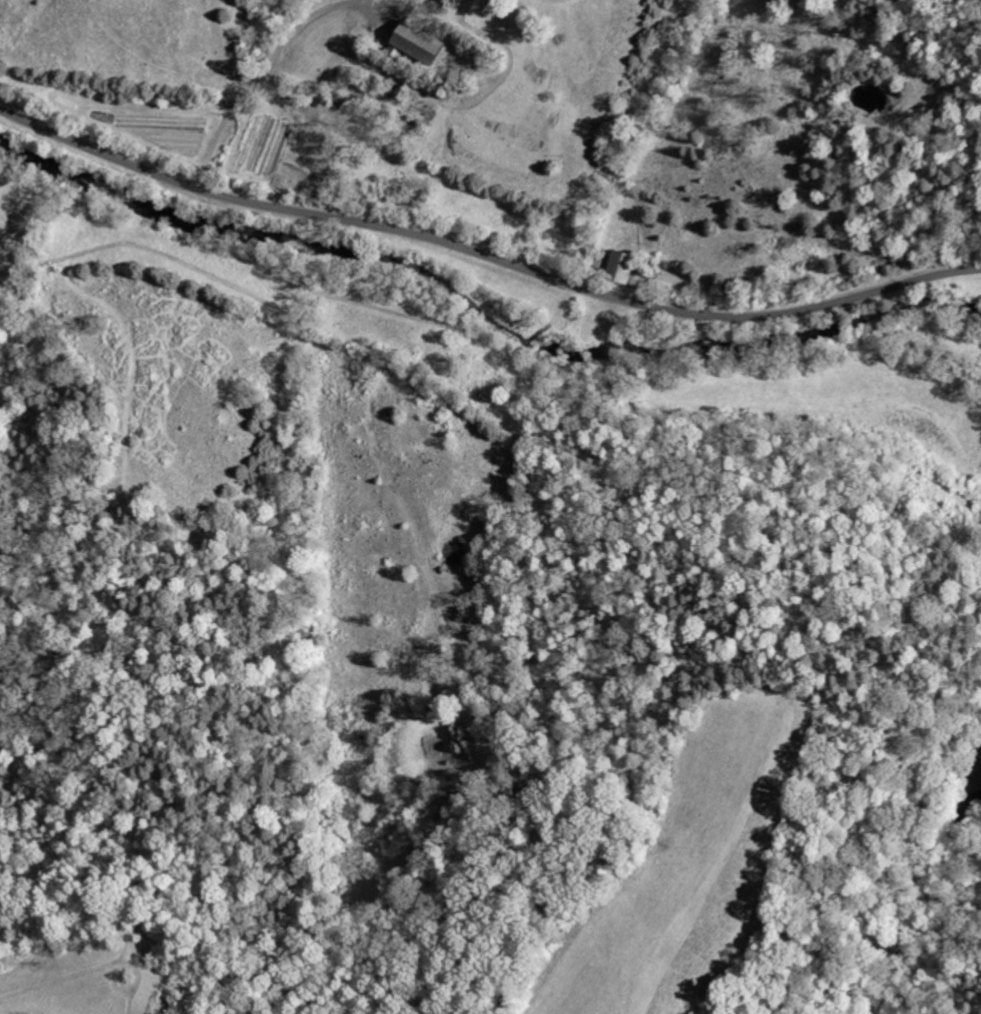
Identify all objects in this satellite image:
building: (422, 44)
road: (259, 79)
road: (485, 256)
building: (623, 265)

